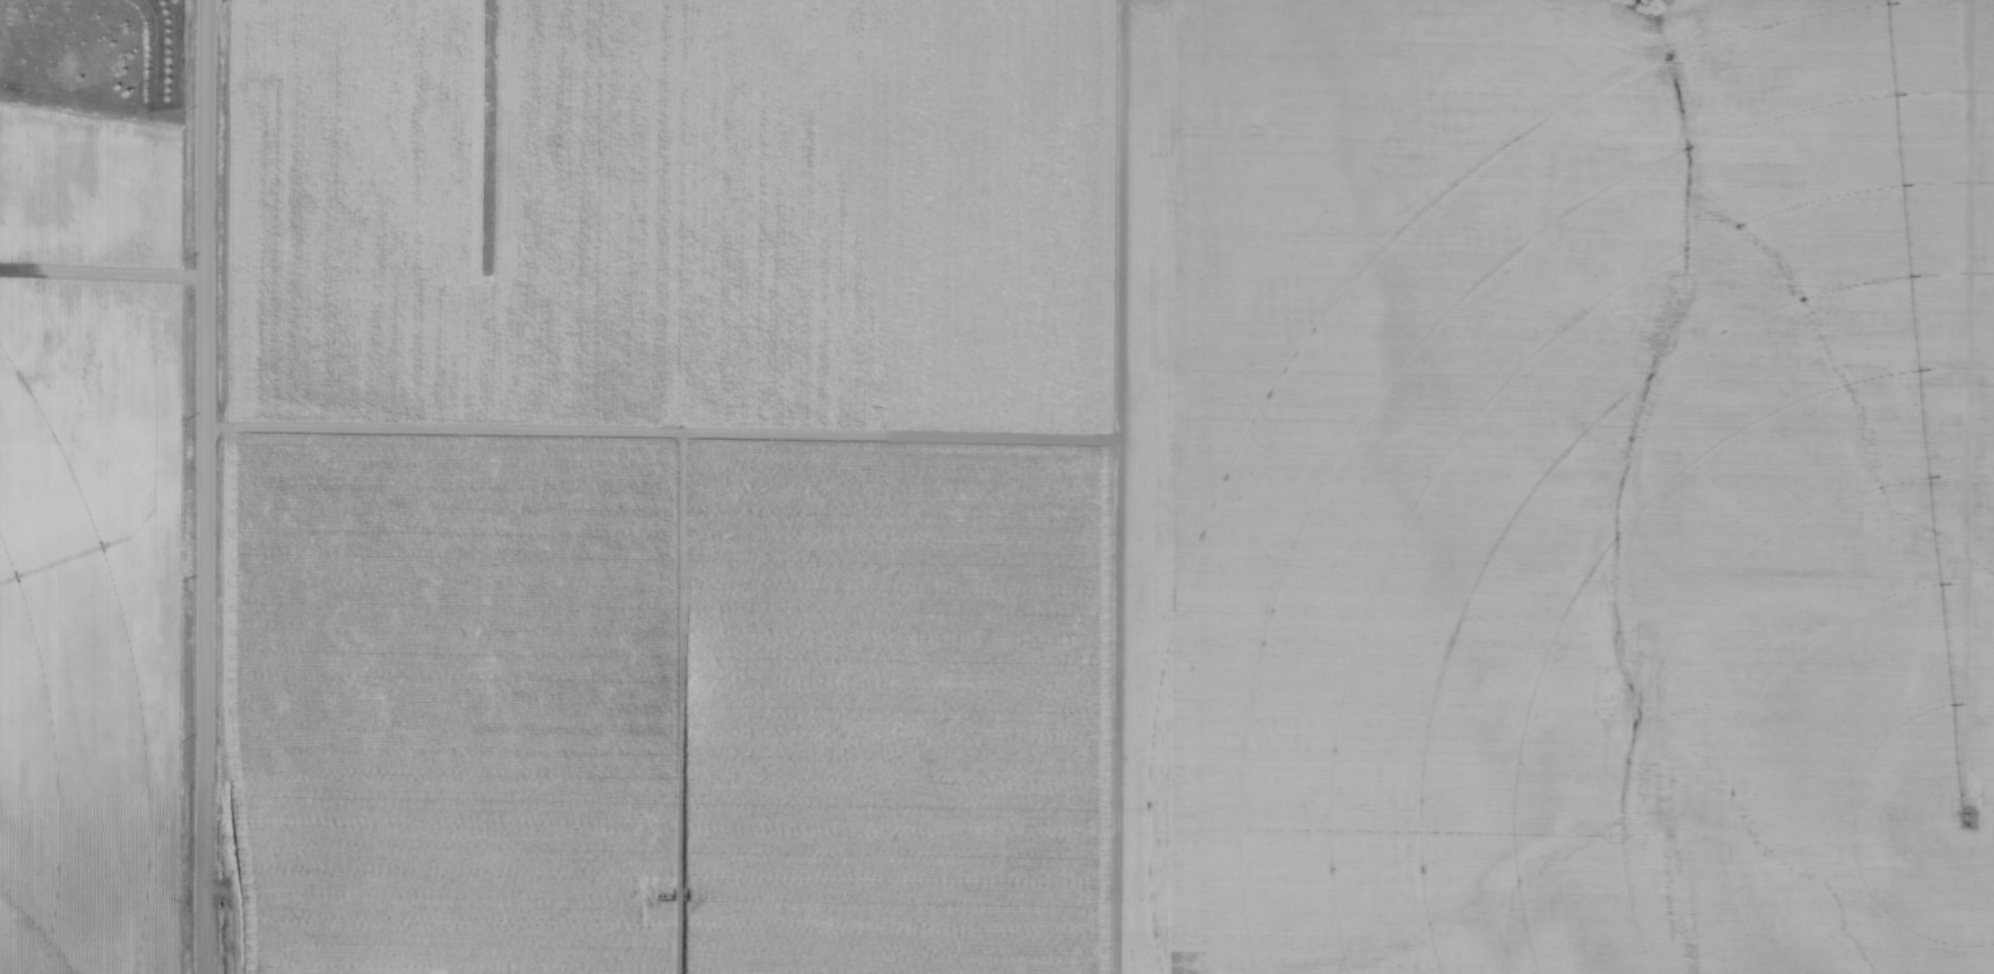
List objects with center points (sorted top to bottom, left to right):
road: (206, 487)

